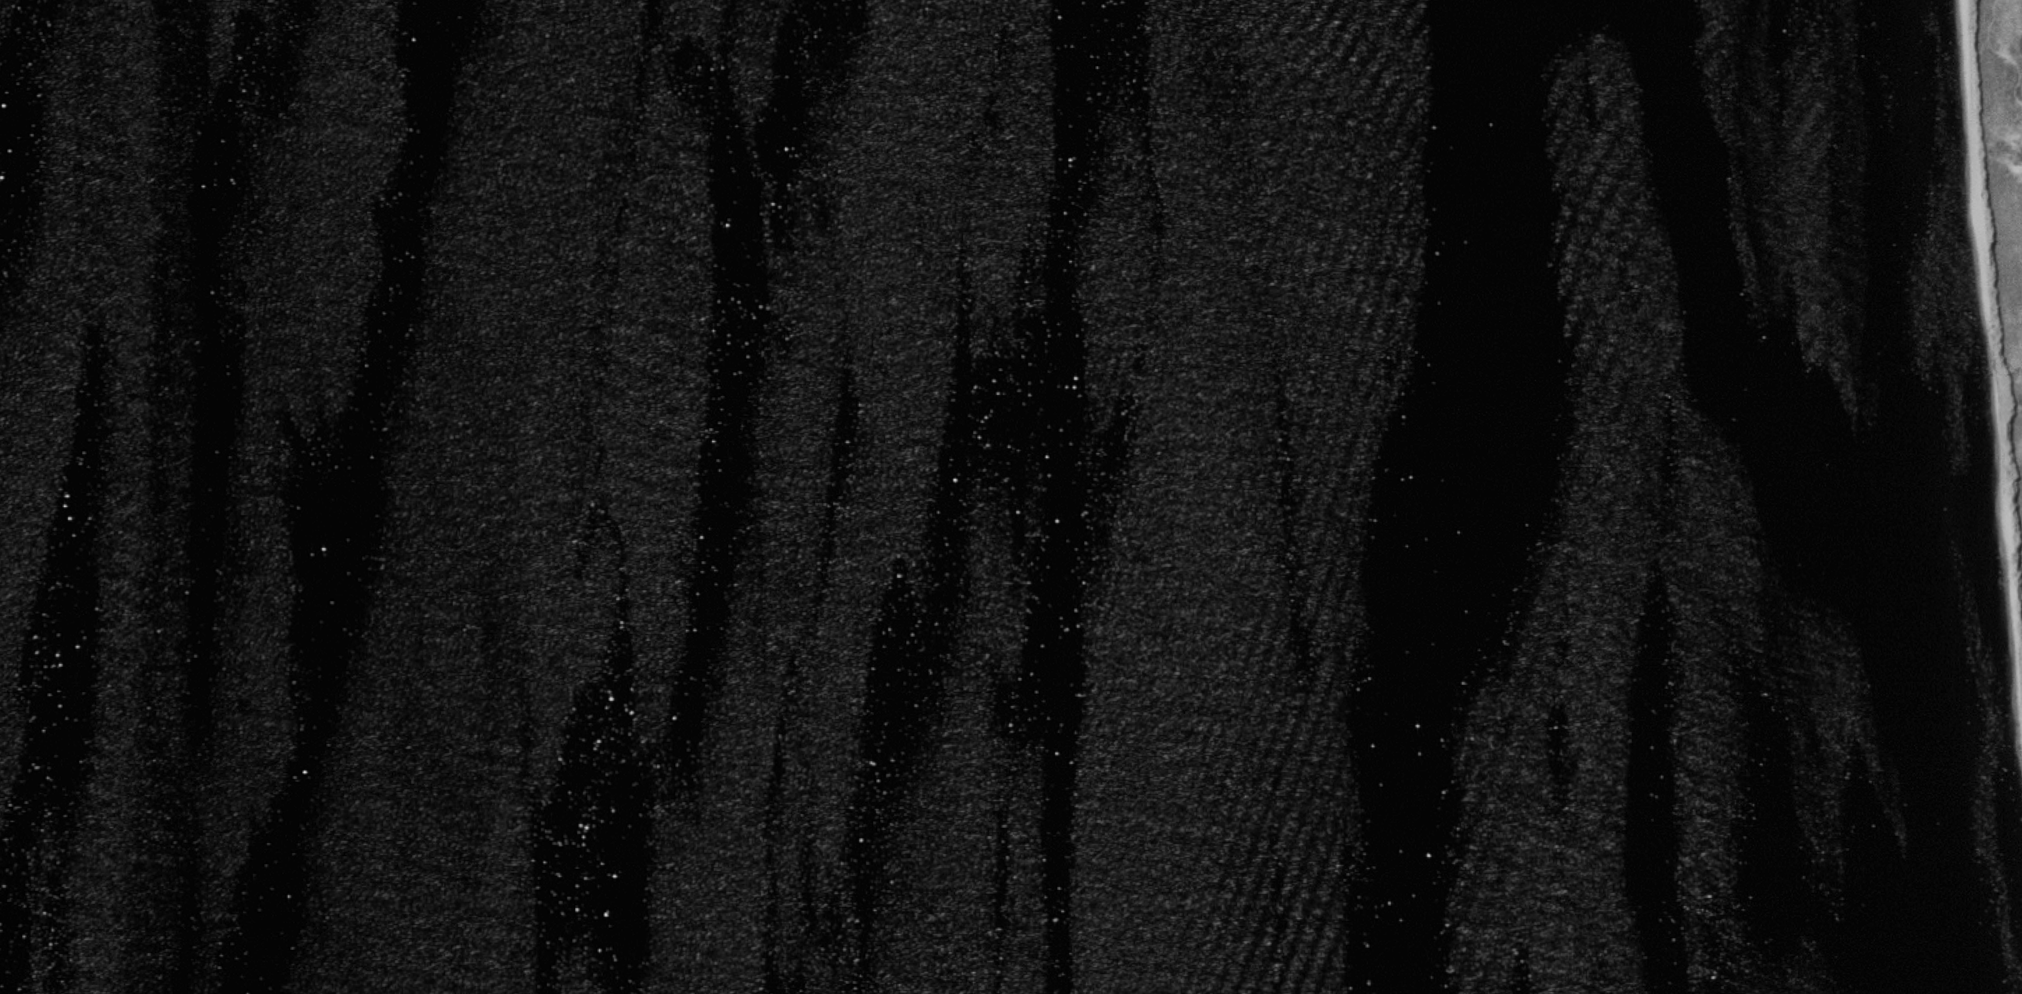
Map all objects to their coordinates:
park: (1972, 414)

